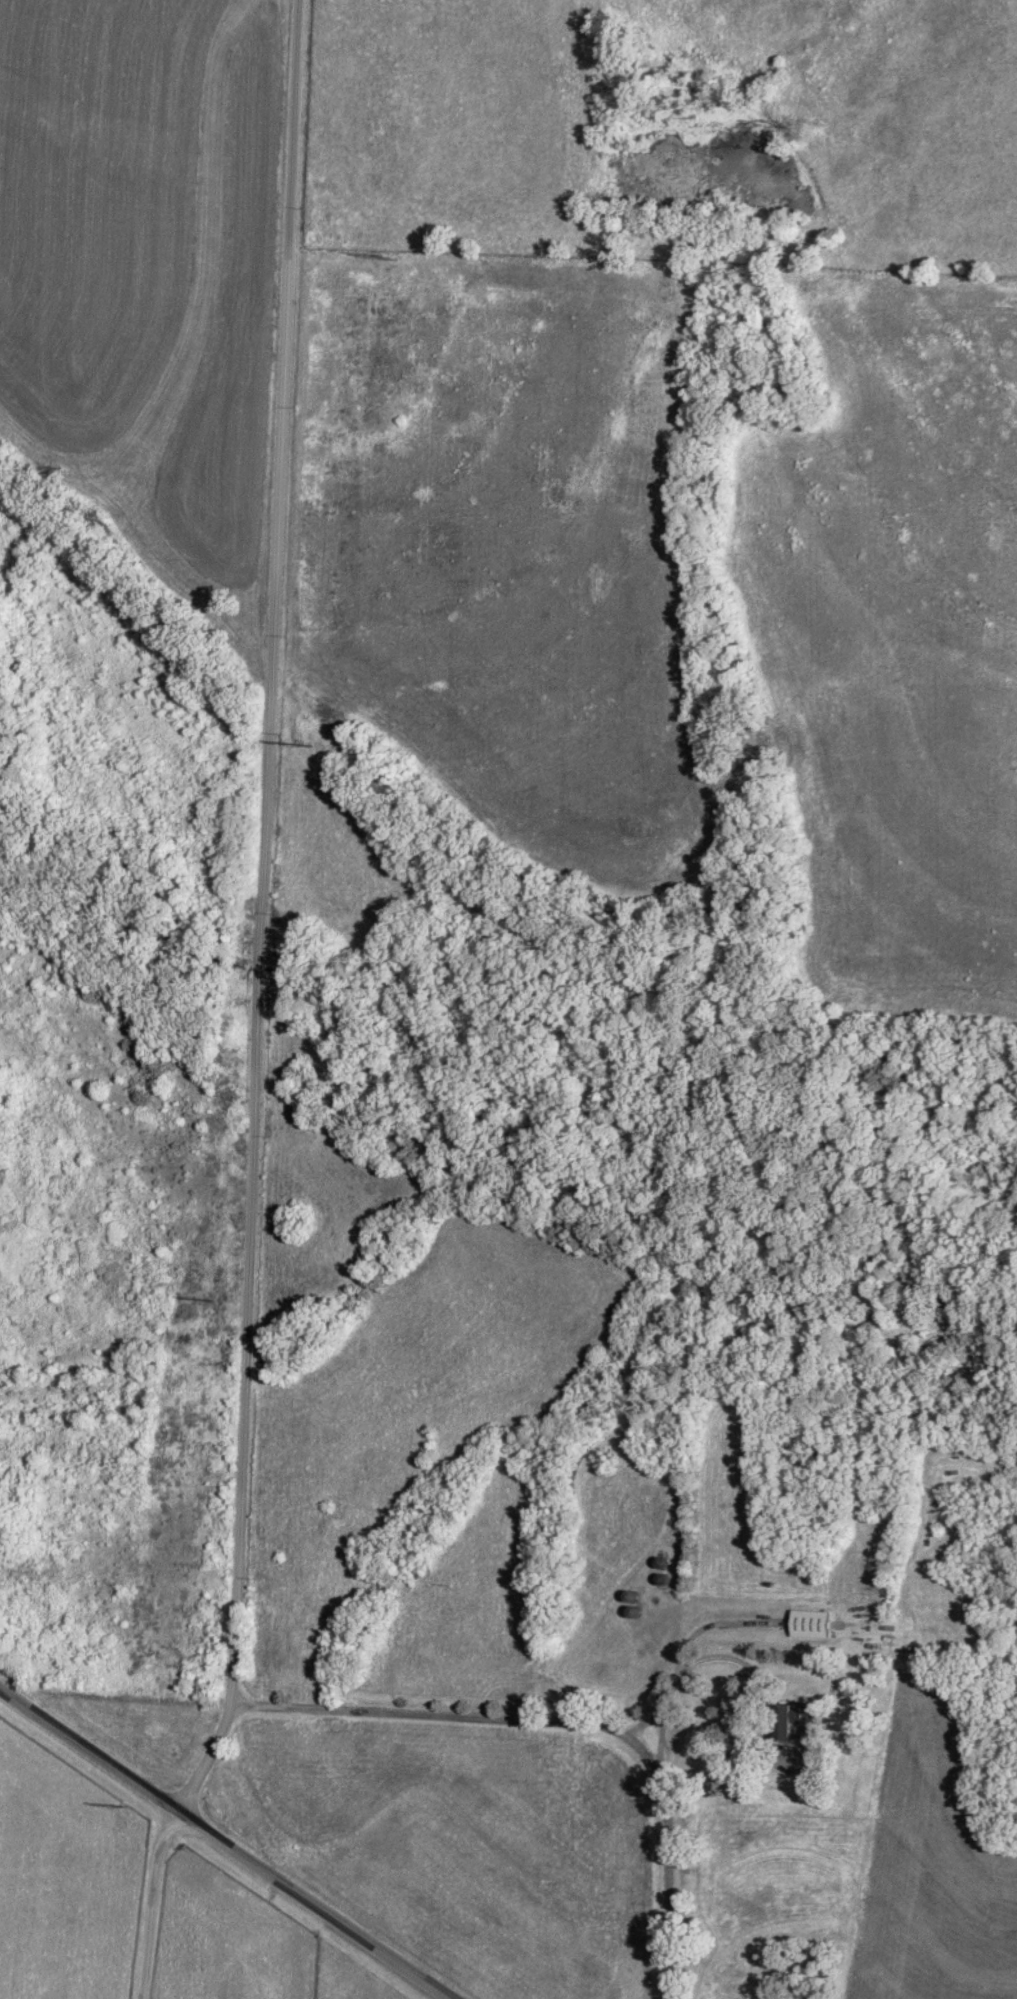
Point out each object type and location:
road: (262, 912)
road: (688, 1665)
road: (453, 1717)
building: (787, 1722)
road: (226, 1844)

